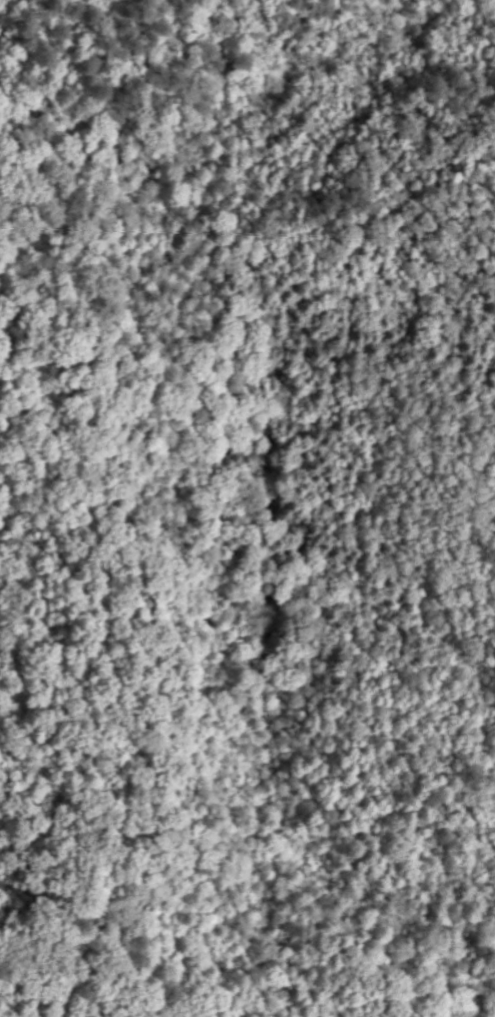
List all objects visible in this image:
road: (37, 992)

